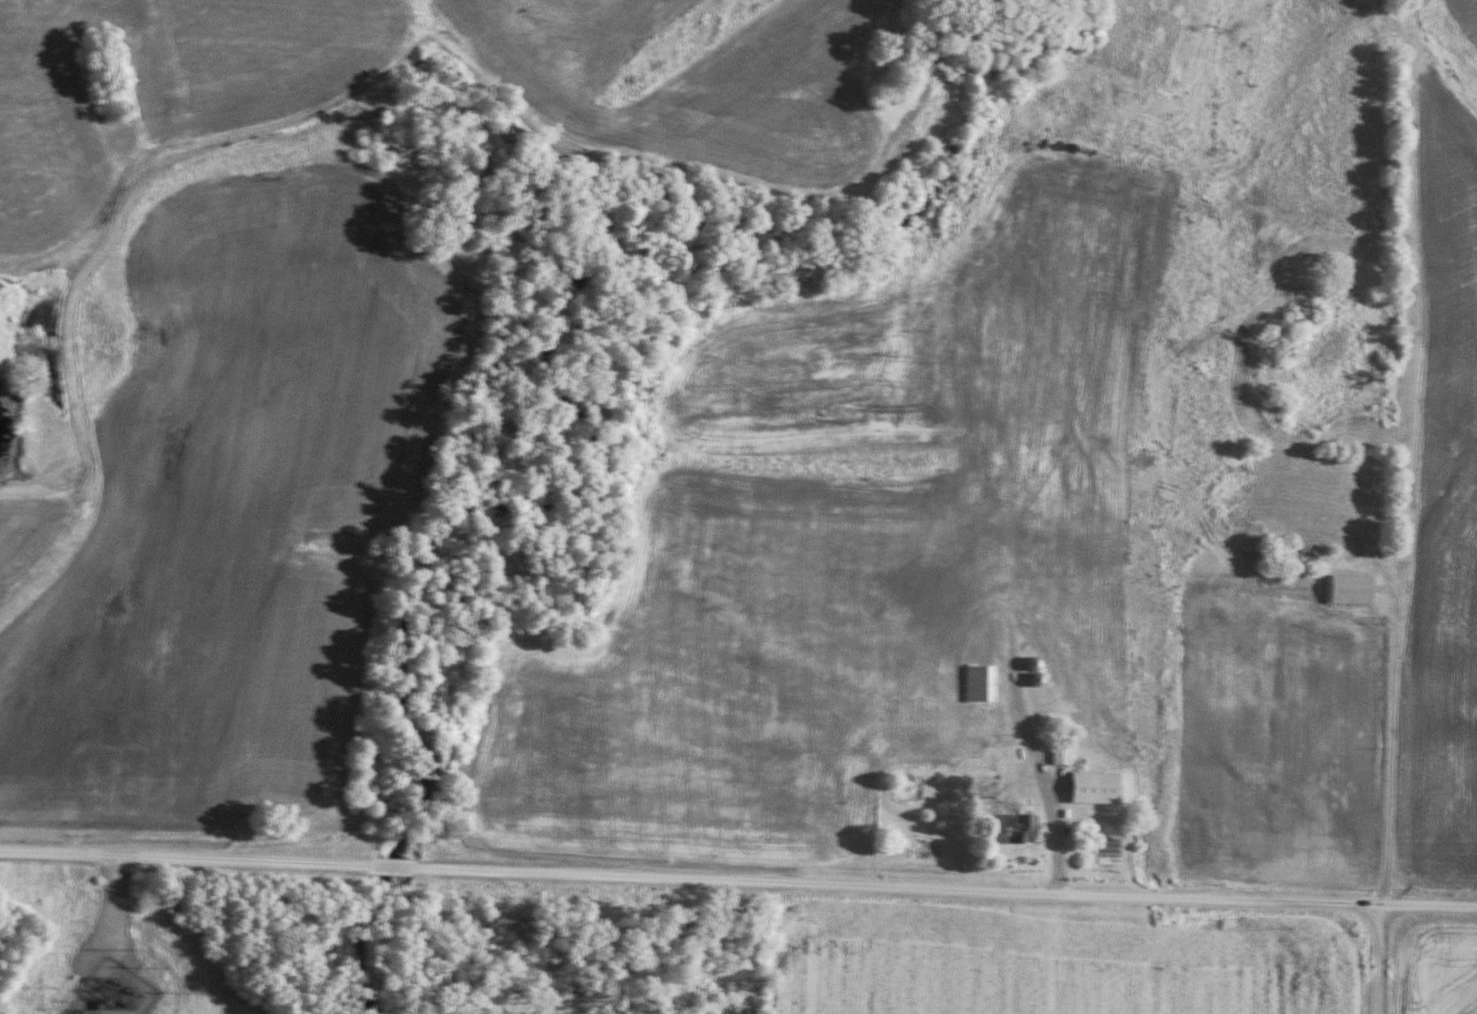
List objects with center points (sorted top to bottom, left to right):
building: (1340, 589)
road: (1009, 612)
building: (1036, 666)
building: (1039, 680)
building: (971, 683)
building: (1078, 696)
road: (1391, 745)
building: (1050, 755)
building: (1062, 756)
building: (1085, 788)
building: (1025, 830)
road: (738, 880)
road: (129, 915)
road: (1380, 958)
power substation: (116, 992)

